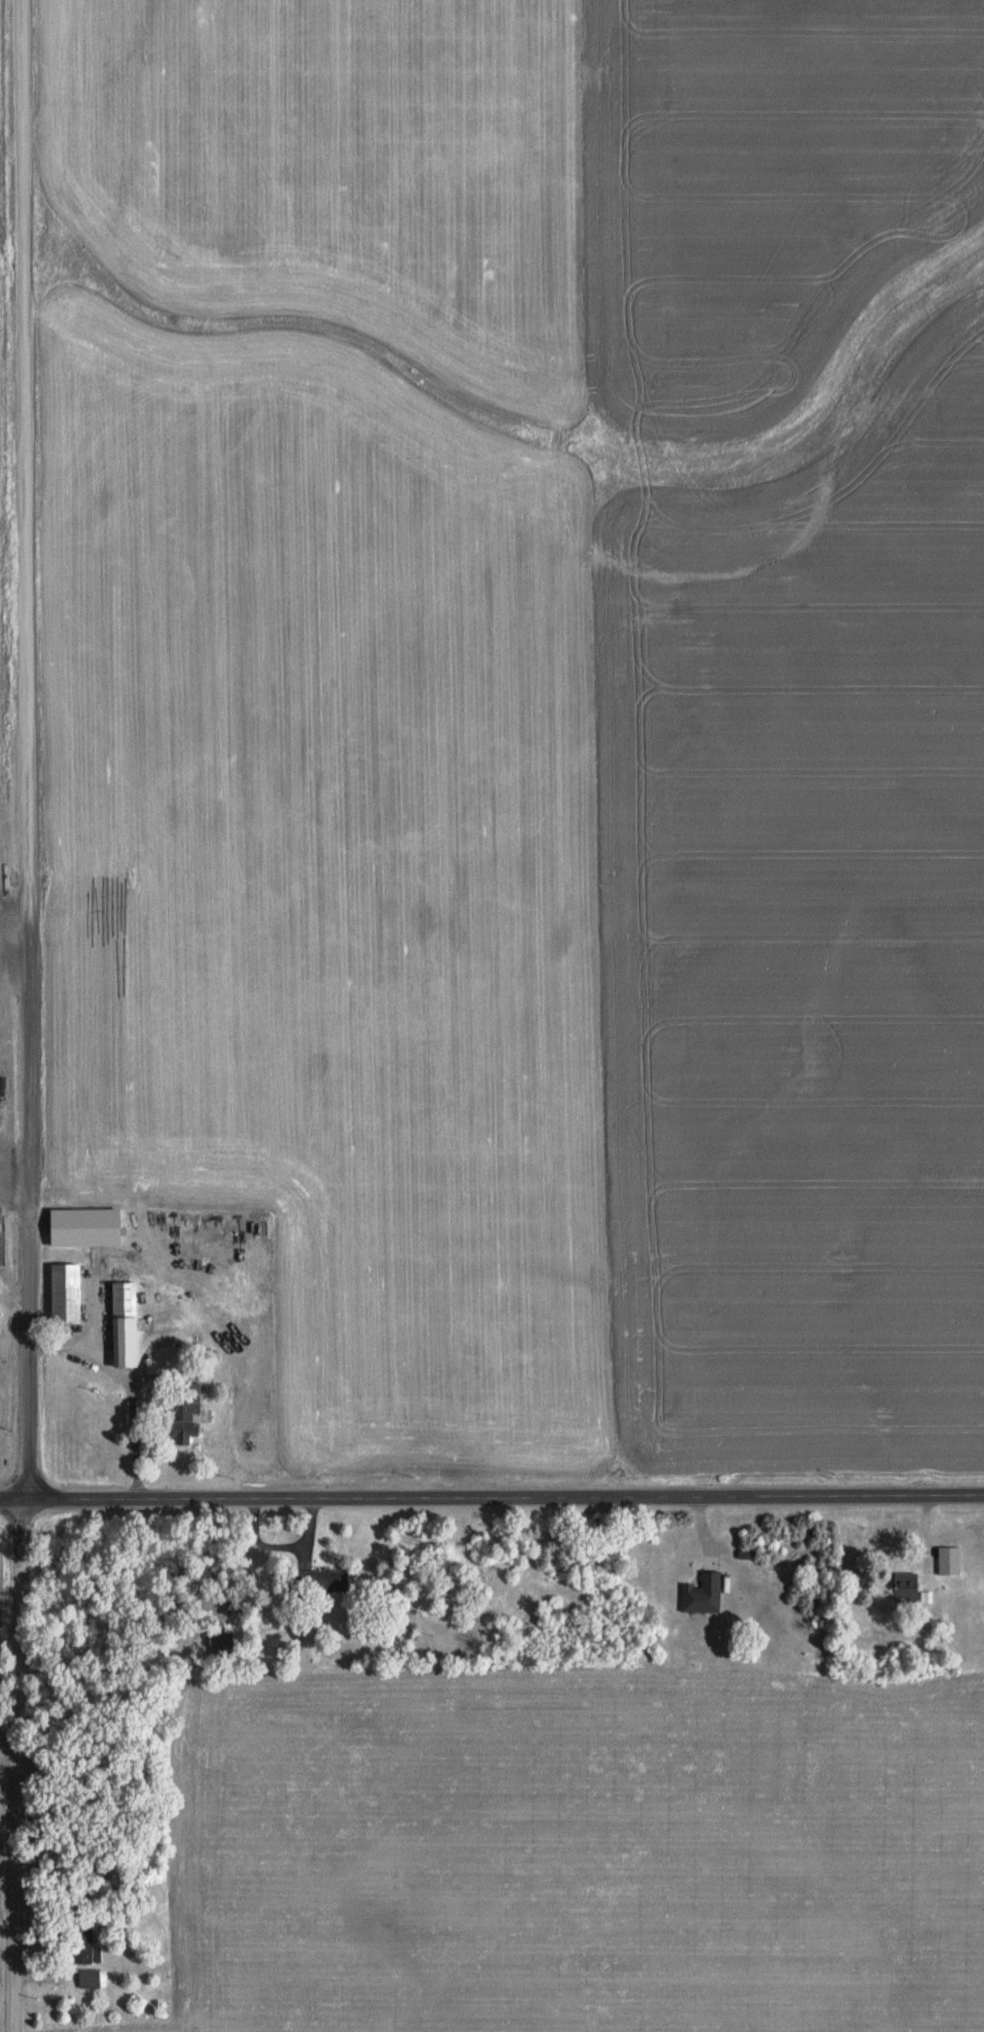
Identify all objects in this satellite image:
road: (23, 404)
road: (27, 1188)
building: (63, 1292)
building: (121, 1323)
road: (492, 1497)
building: (947, 1560)
building: (332, 1581)
building: (904, 1583)
building: (701, 1593)
building: (924, 1595)
road: (16, 1800)
building: (88, 1978)

